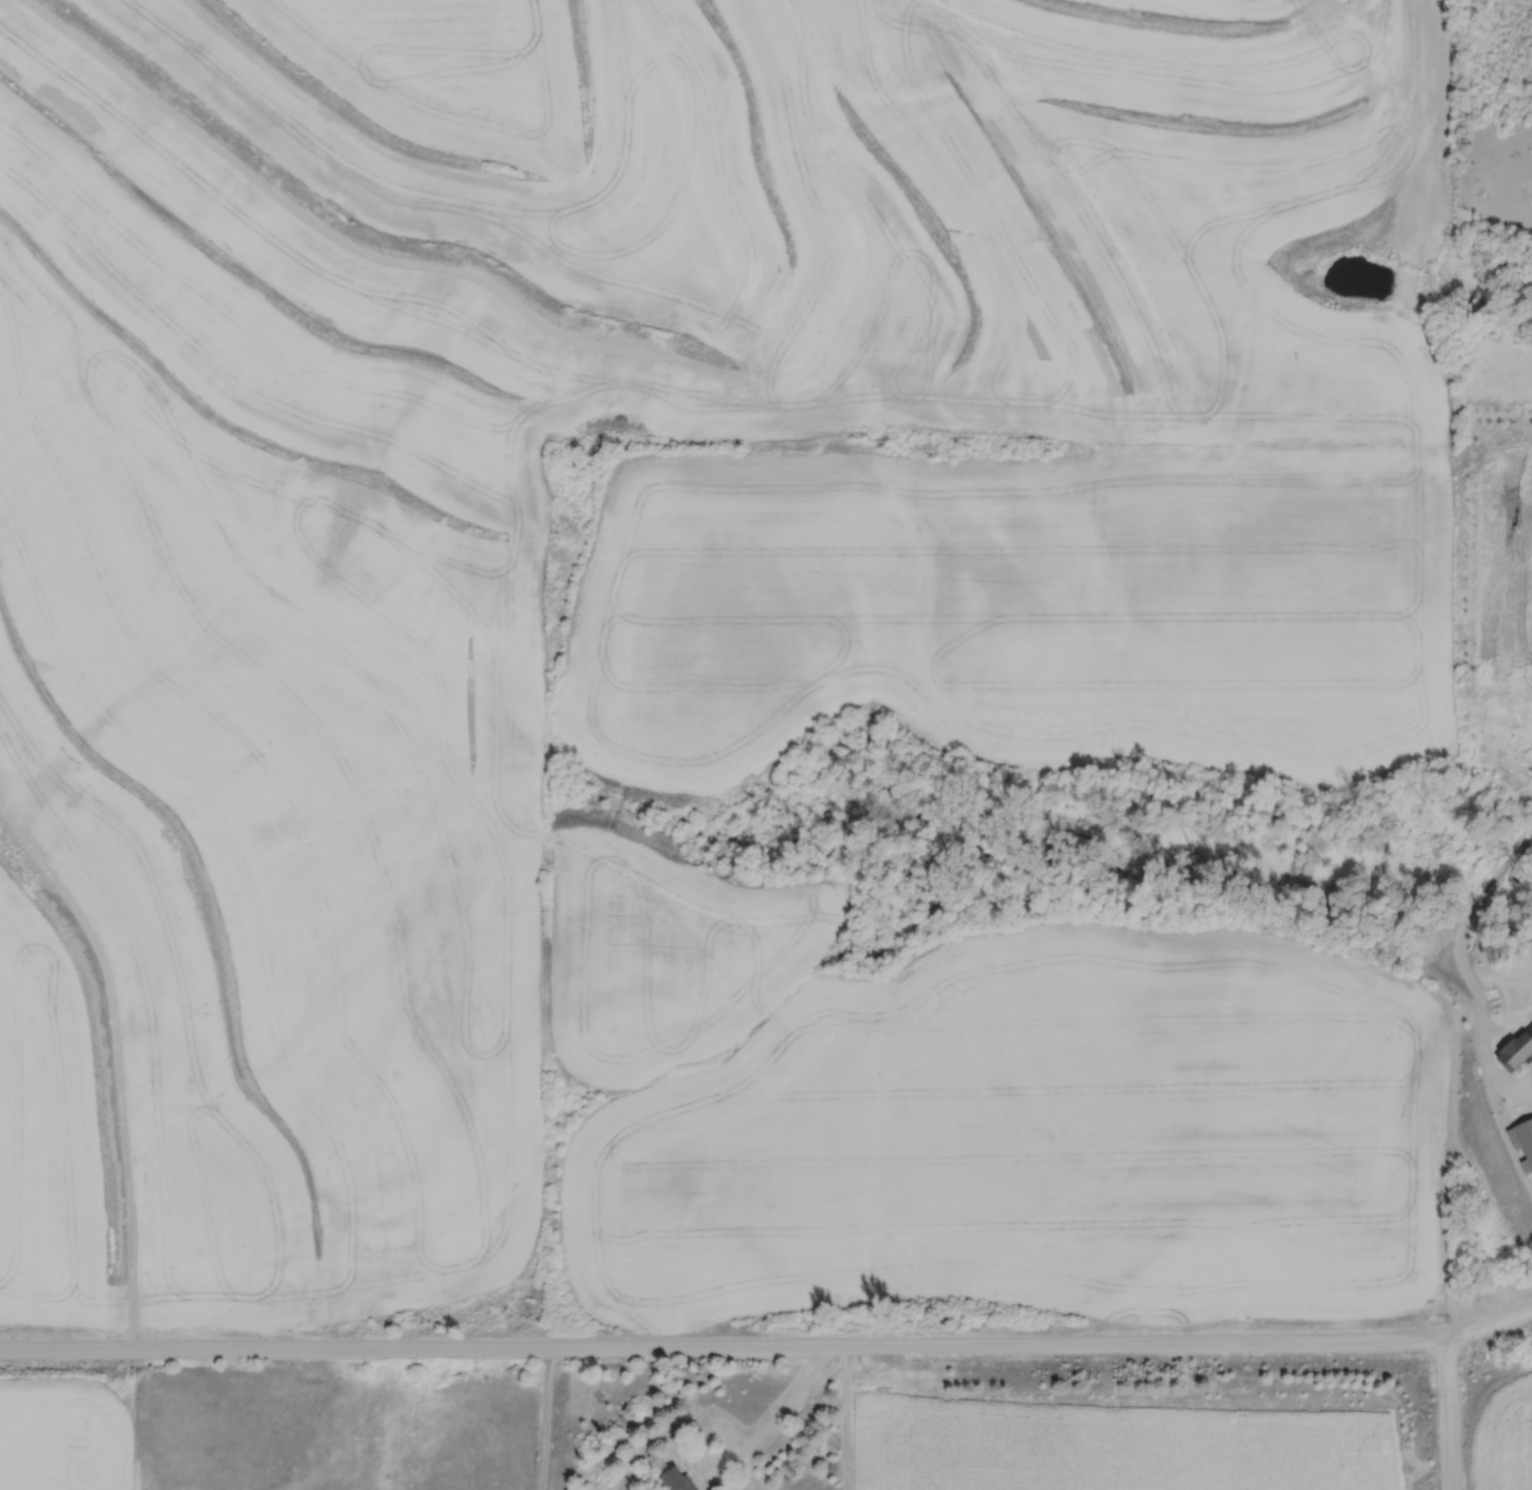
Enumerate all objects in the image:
road: (721, 1351)
road: (1446, 1368)
road: (776, 1419)
road: (848, 1420)
road: (545, 1421)
building: (675, 1479)

